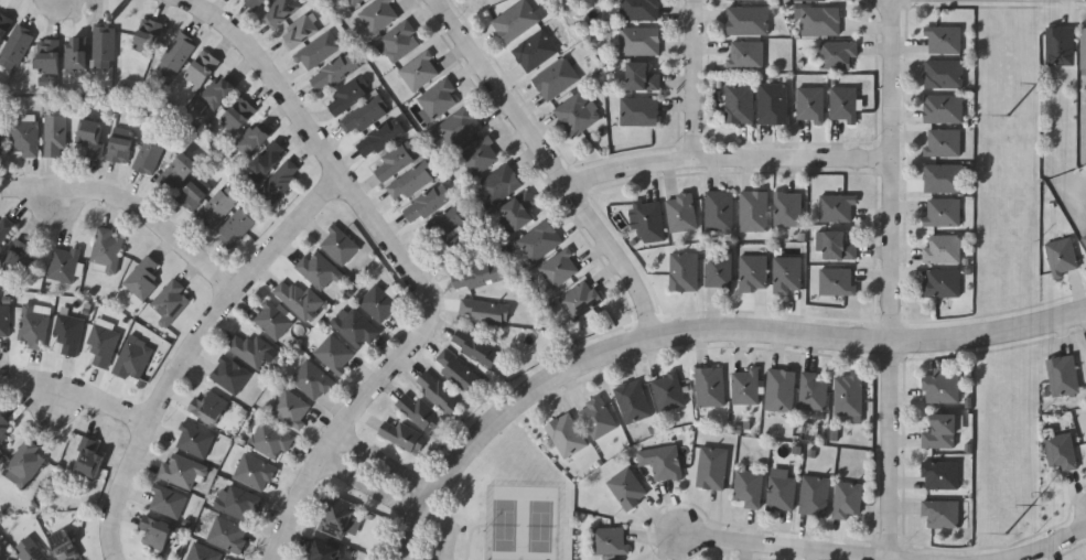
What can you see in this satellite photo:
building: (749, 1)
building: (813, 1)
building: (351, 2)
road: (903, 2)
building: (252, 3)
building: (642, 11)
building: (280, 12)
building: (377, 14)
building: (514, 21)
building: (745, 21)
building: (818, 21)
building: (3, 24)
building: (299, 32)
building: (146, 35)
building: (940, 40)
building: (397, 42)
building: (643, 43)
building: (14, 45)
building: (1058, 45)
building: (101, 46)
building: (1083, 47)
building: (74, 51)
building: (315, 51)
building: (534, 51)
building: (175, 54)
building: (744, 54)
building: (837, 54)
building: (46, 55)
building: (200, 67)
building: (418, 71)
building: (332, 72)
building: (942, 74)
building: (639, 77)
building: (555, 79)
road: (699, 80)
building: (215, 91)
building: (344, 97)
building: (437, 99)
building: (738, 103)
building: (771, 104)
building: (808, 104)
building: (841, 104)
building: (940, 108)
building: (576, 114)
building: (643, 114)
building: (237, 115)
building: (362, 116)
power tower: (1009, 116)
building: (455, 127)
building: (1, 134)
building: (22, 136)
building: (52, 136)
building: (89, 136)
building: (379, 137)
road: (533, 137)
building: (250, 139)
building: (942, 142)
building: (118, 149)
road: (319, 149)
building: (147, 154)
building: (479, 155)
building: (266, 159)
building: (391, 162)
road: (761, 162)
building: (178, 171)
building: (942, 177)
building: (279, 180)
road: (599, 181)
building: (409, 182)
building: (498, 184)
building: (192, 192)
building: (426, 203)
building: (217, 206)
building: (787, 208)
building: (836, 208)
building: (753, 209)
building: (718, 211)
building: (680, 212)
building: (940, 212)
building: (516, 213)
road: (152, 216)
building: (648, 220)
building: (238, 223)
building: (441, 225)
building: (4, 228)
building: (1084, 239)
building: (539, 240)
building: (337, 245)
building: (837, 245)
building: (940, 248)
building: (454, 249)
building: (104, 251)
building: (18, 257)
building: (1061, 257)
building: (62, 263)
building: (558, 268)
building: (318, 270)
building: (682, 271)
building: (718, 271)
building: (752, 272)
building: (475, 274)
building: (786, 274)
building: (141, 278)
building: (836, 281)
road: (894, 282)
building: (940, 282)
building: (293, 299)
building: (579, 300)
building: (169, 301)
road: (647, 302)
building: (377, 303)
building: (482, 310)
building: (3, 320)
building: (271, 320)
building: (32, 325)
building: (353, 327)
building: (67, 332)
road: (858, 338)
building: (101, 342)
building: (473, 347)
road: (190, 349)
building: (249, 349)
building: (333, 354)
building: (130, 359)
building: (455, 369)
building: (228, 374)
building: (1061, 375)
building: (311, 380)
building: (709, 386)
building: (744, 386)
building: (940, 386)
building: (779, 389)
building: (437, 391)
building: (667, 391)
building: (811, 391)
building: (847, 395)
road: (84, 396)
building: (636, 402)
building: (207, 407)
building: (289, 409)
building: (418, 412)
building: (596, 417)
building: (4, 426)
road: (492, 429)
building: (942, 430)
road: (340, 434)
building: (566, 434)
building: (401, 435)
building: (192, 440)
building: (269, 440)
building: (1061, 450)
building: (88, 459)
building: (24, 462)
building: (665, 463)
building: (711, 467)
building: (180, 471)
building: (252, 472)
building: (939, 475)
road: (378, 478)
building: (748, 487)
building: (631, 489)
building: (781, 492)
building: (815, 495)
building: (165, 500)
building: (847, 500)
building: (237, 503)
building: (939, 513)
building: (335, 517)
road: (445, 529)
building: (154, 531)
power tower: (1008, 534)
building: (227, 535)
building: (613, 542)
road: (764, 546)
building: (65, 549)
road: (1055, 549)
building: (28, 550)
building: (322, 551)
building: (202, 553)

